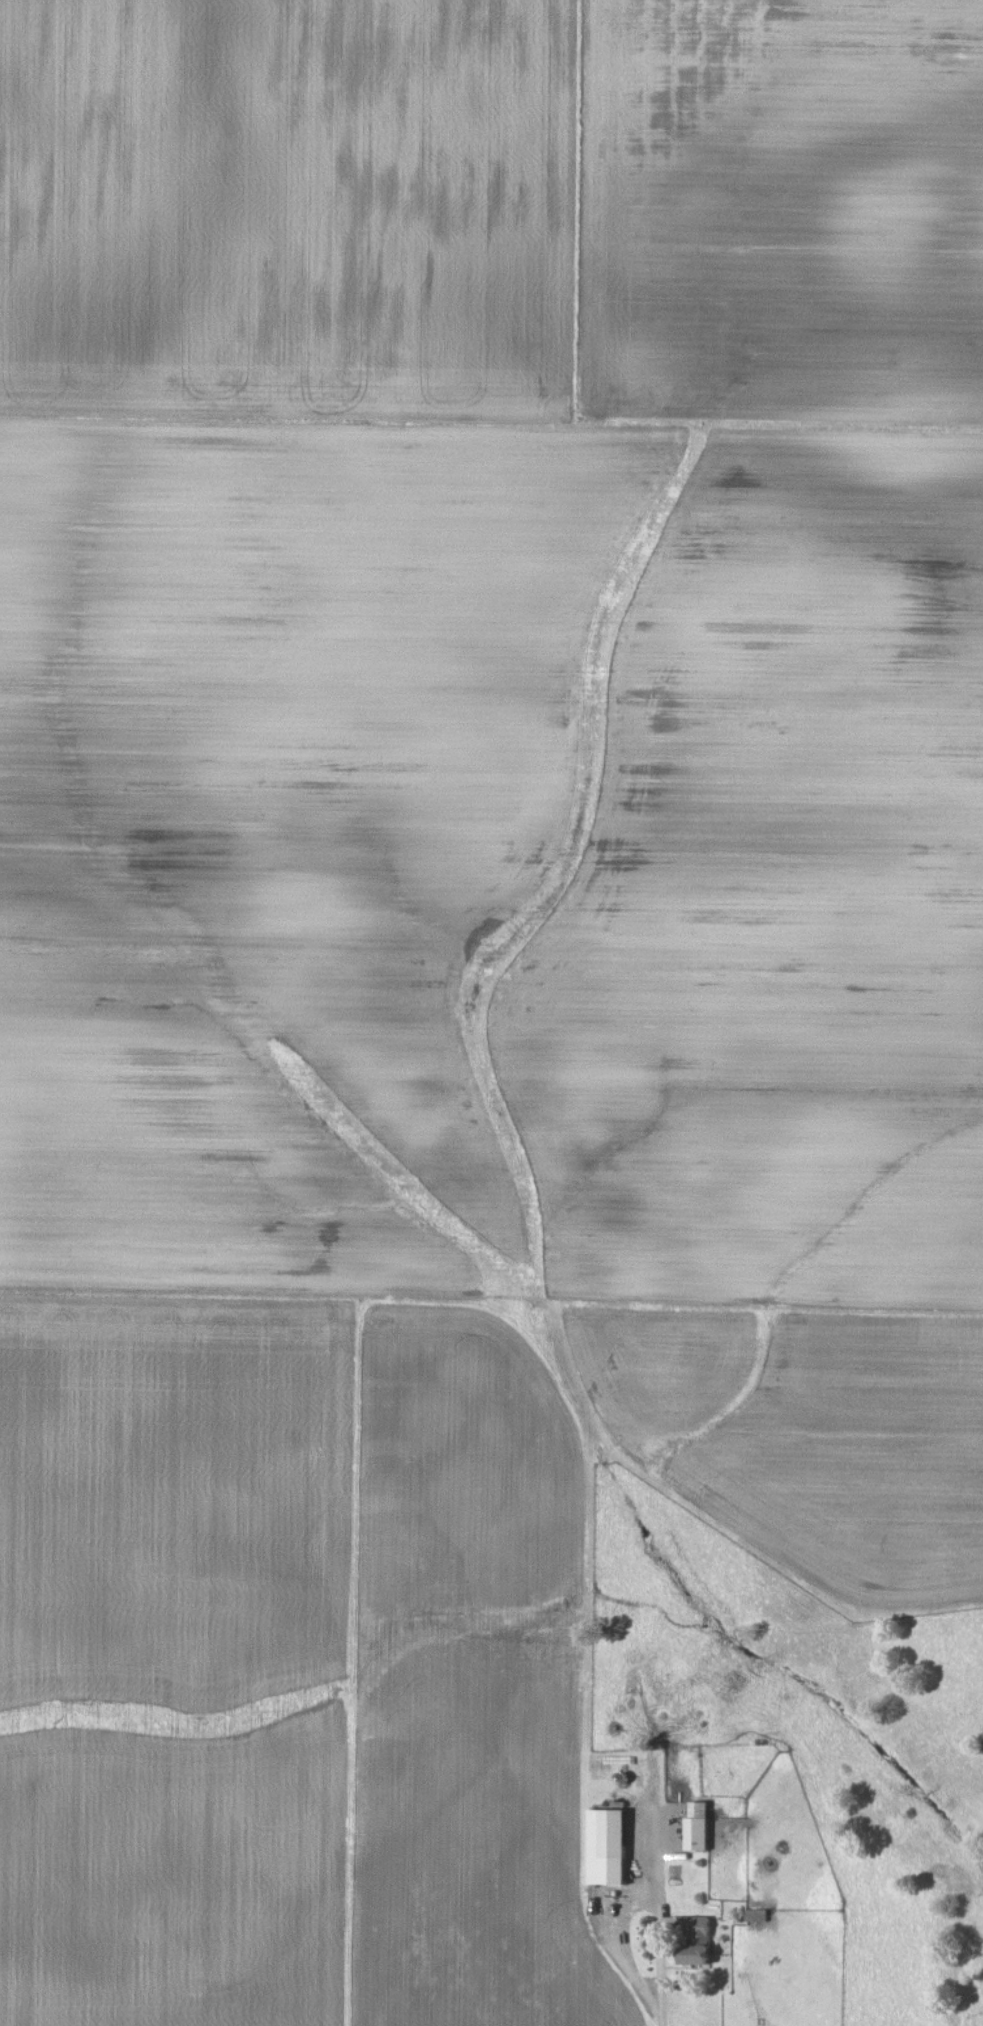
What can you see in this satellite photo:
building: (693, 1826)
building: (602, 1846)
road: (626, 1902)
building: (693, 1942)
road: (664, 2019)

